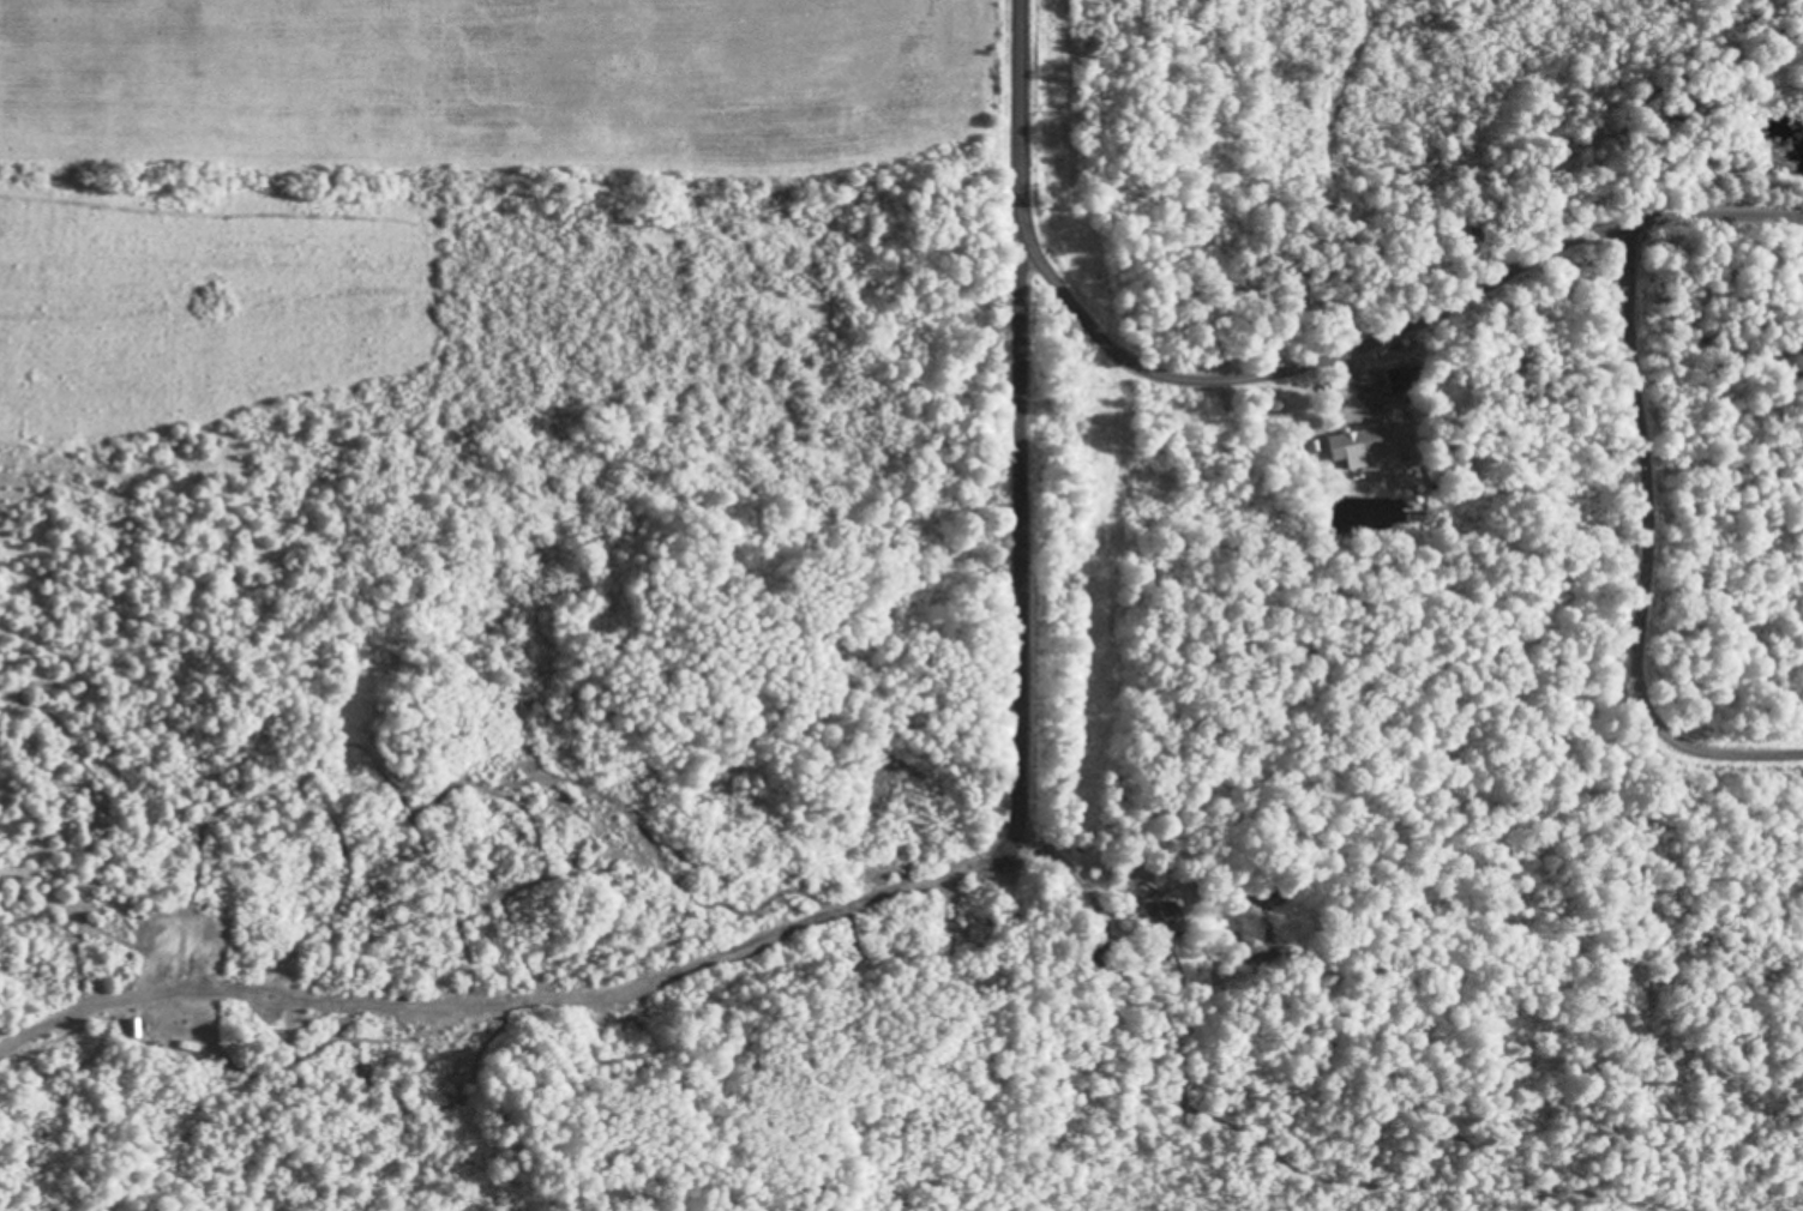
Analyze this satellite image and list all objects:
road: (1273, 374)
building: (1398, 381)
building: (1354, 445)
road: (1023, 538)
building: (1160, 917)
building: (1094, 960)
road: (17, 1053)

